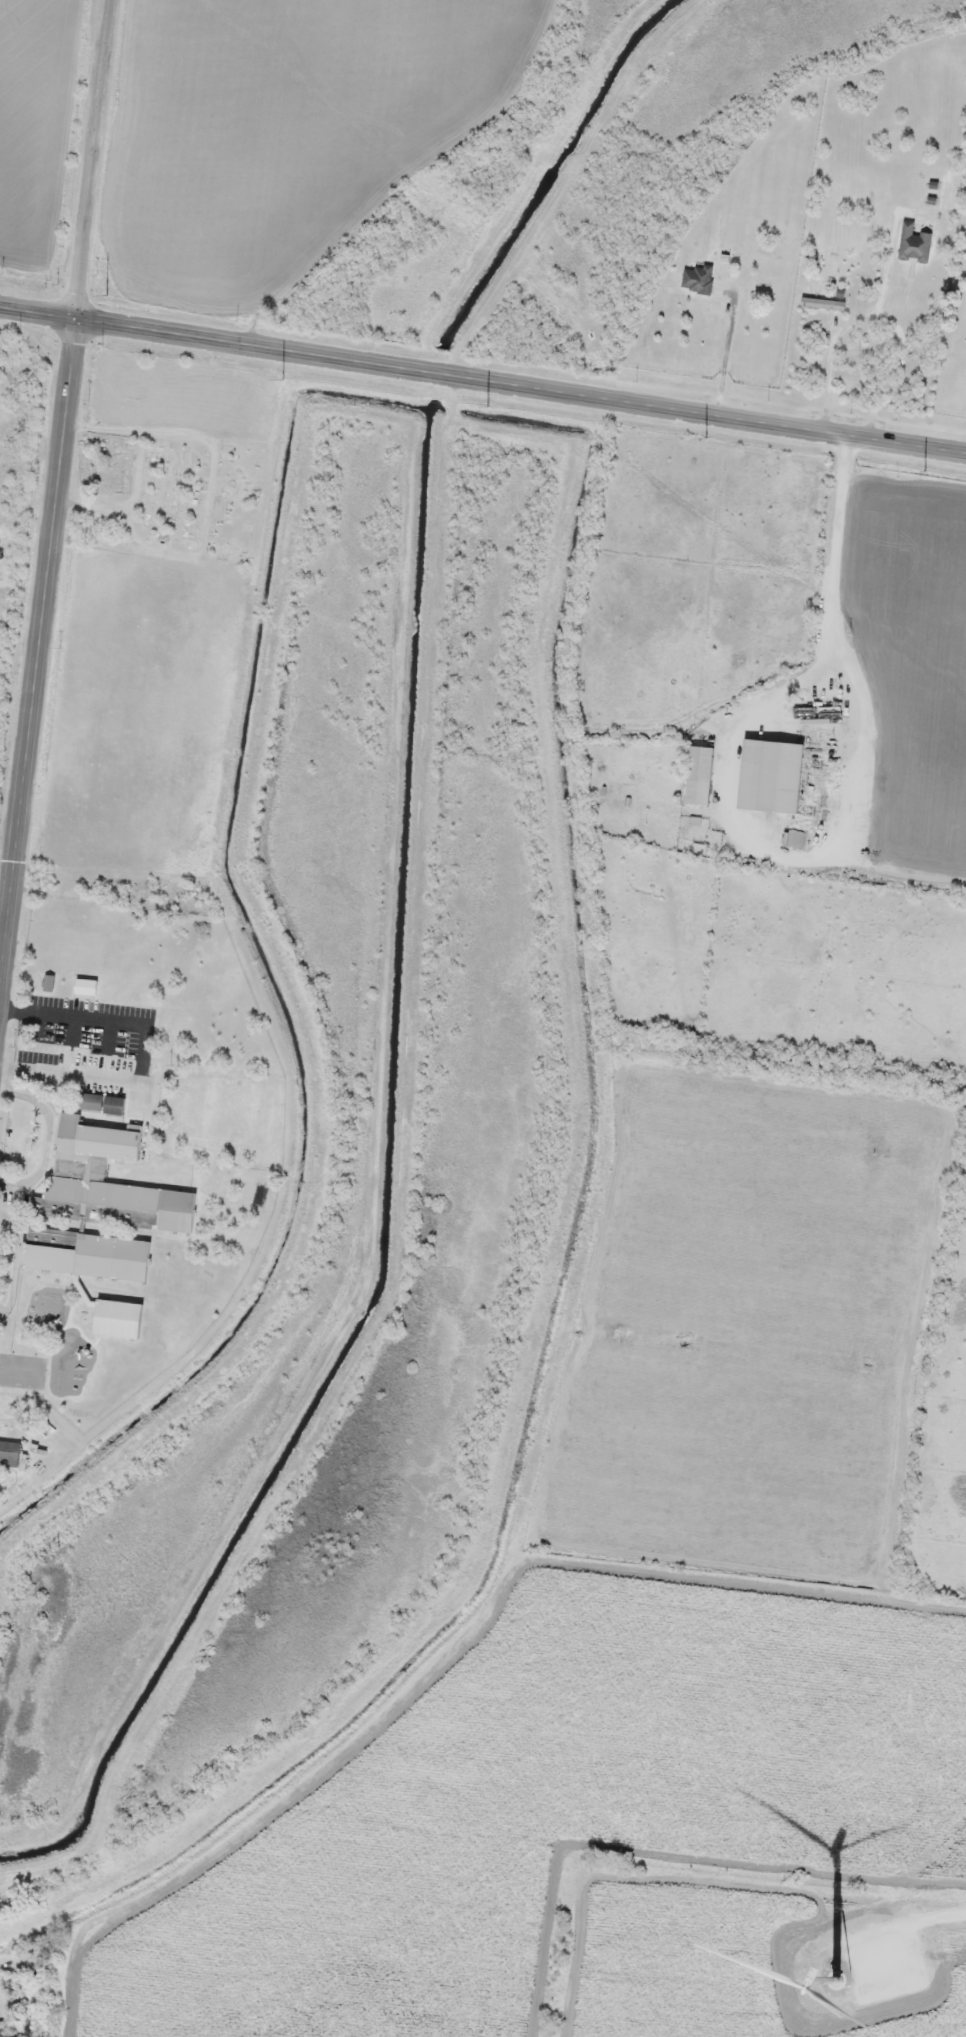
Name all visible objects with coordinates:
road: (97, 161)
building: (913, 243)
building: (697, 278)
building: (822, 303)
road: (38, 315)
road: (521, 388)
road: (638, 512)
building: (6, 543)
road: (38, 662)
building: (699, 774)
road: (91, 885)
building: (188, 897)
building: (85, 986)
building: (90, 1101)
building: (79, 1171)
building: (86, 1253)
building: (118, 1319)
building: (9, 1450)
wind turbine: (835, 1976)

